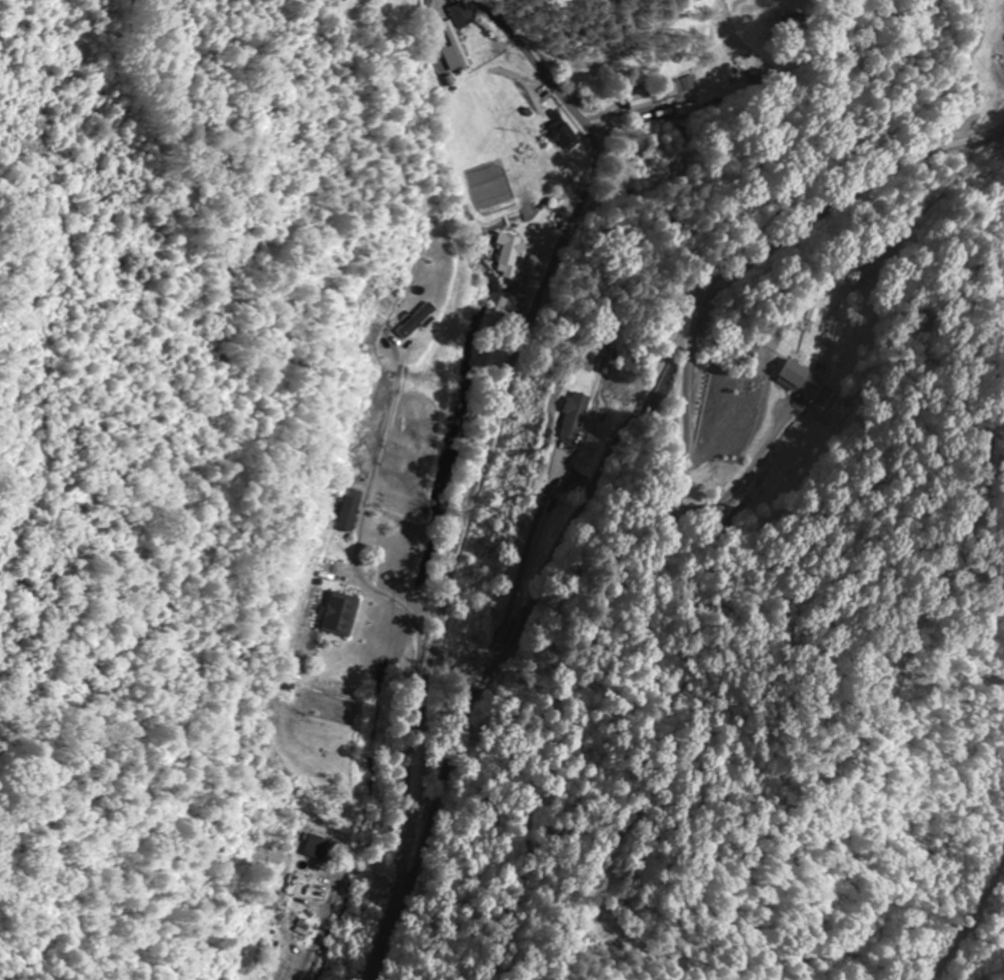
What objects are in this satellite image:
building: (340, 0)
building: (463, 13)
building: (457, 42)
building: (647, 95)
building: (565, 133)
building: (507, 247)
building: (605, 360)
building: (797, 376)
building: (571, 415)
road: (626, 437)
road: (488, 465)
building: (346, 518)
road: (413, 608)
building: (338, 613)
building: (314, 846)

